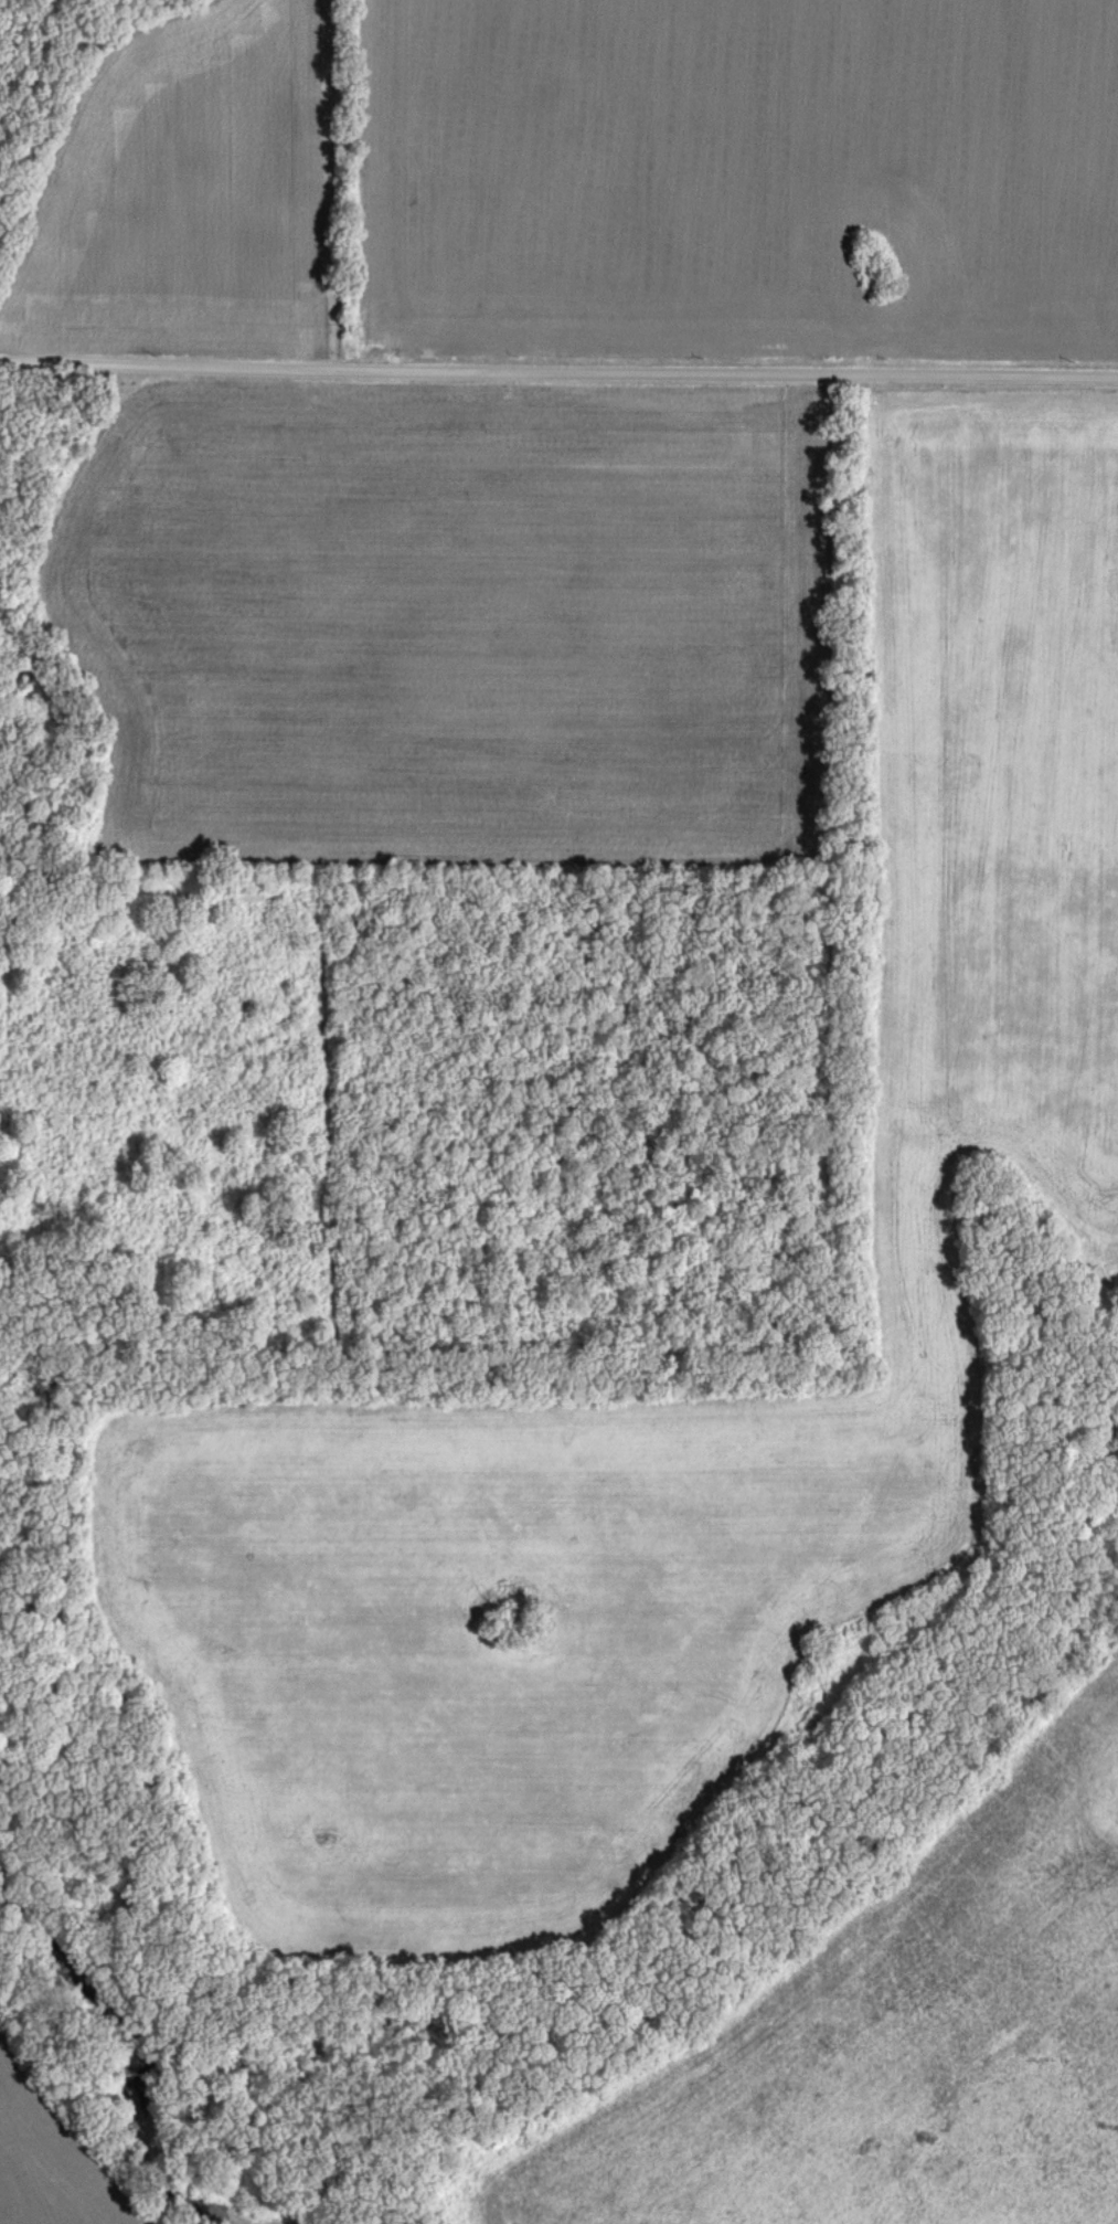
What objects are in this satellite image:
road: (558, 352)

